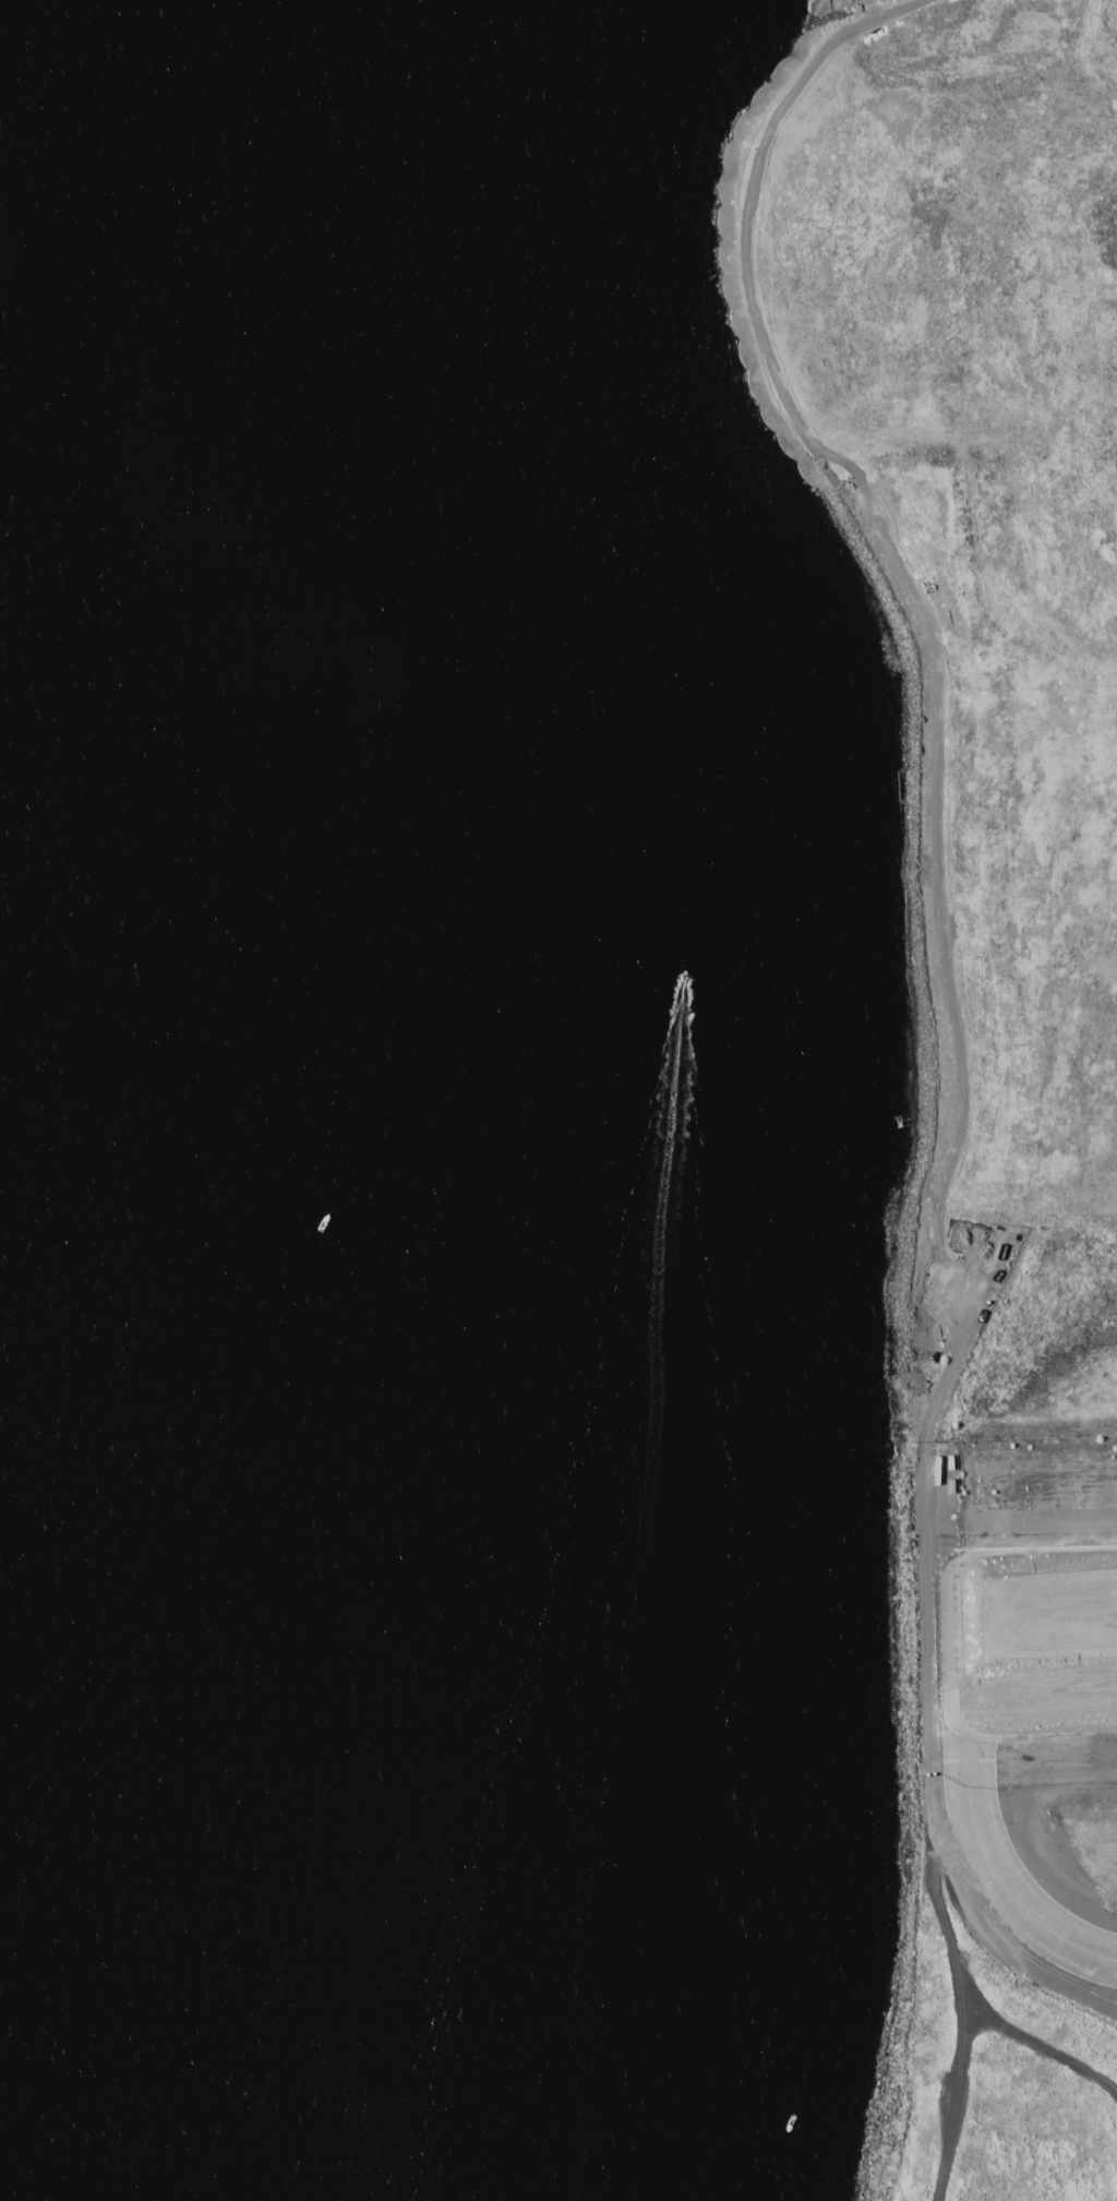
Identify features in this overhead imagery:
building: (984, 770)
road: (1074, 1008)
road: (956, 2011)

